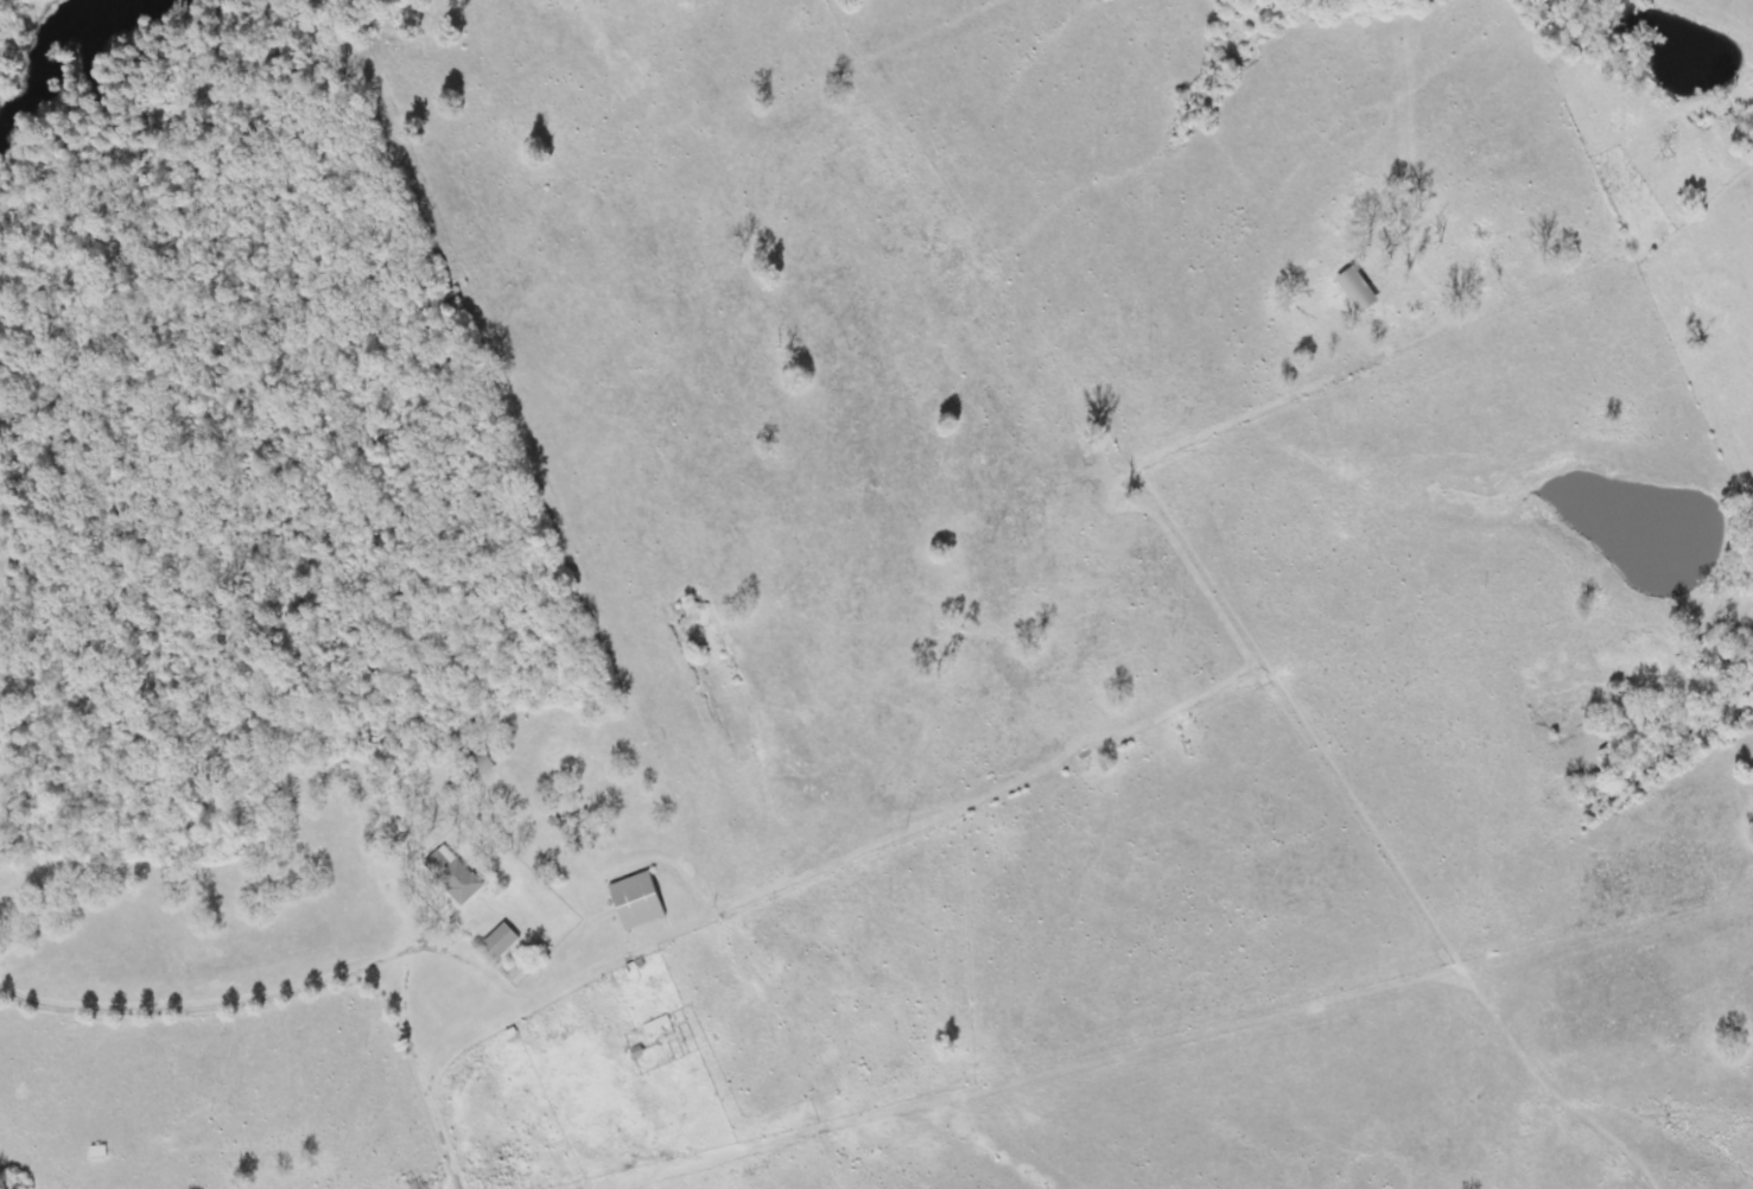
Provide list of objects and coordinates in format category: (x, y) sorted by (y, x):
road: (913, 744)
building: (476, 765)
building: (453, 876)
building: (636, 902)
building: (500, 941)

